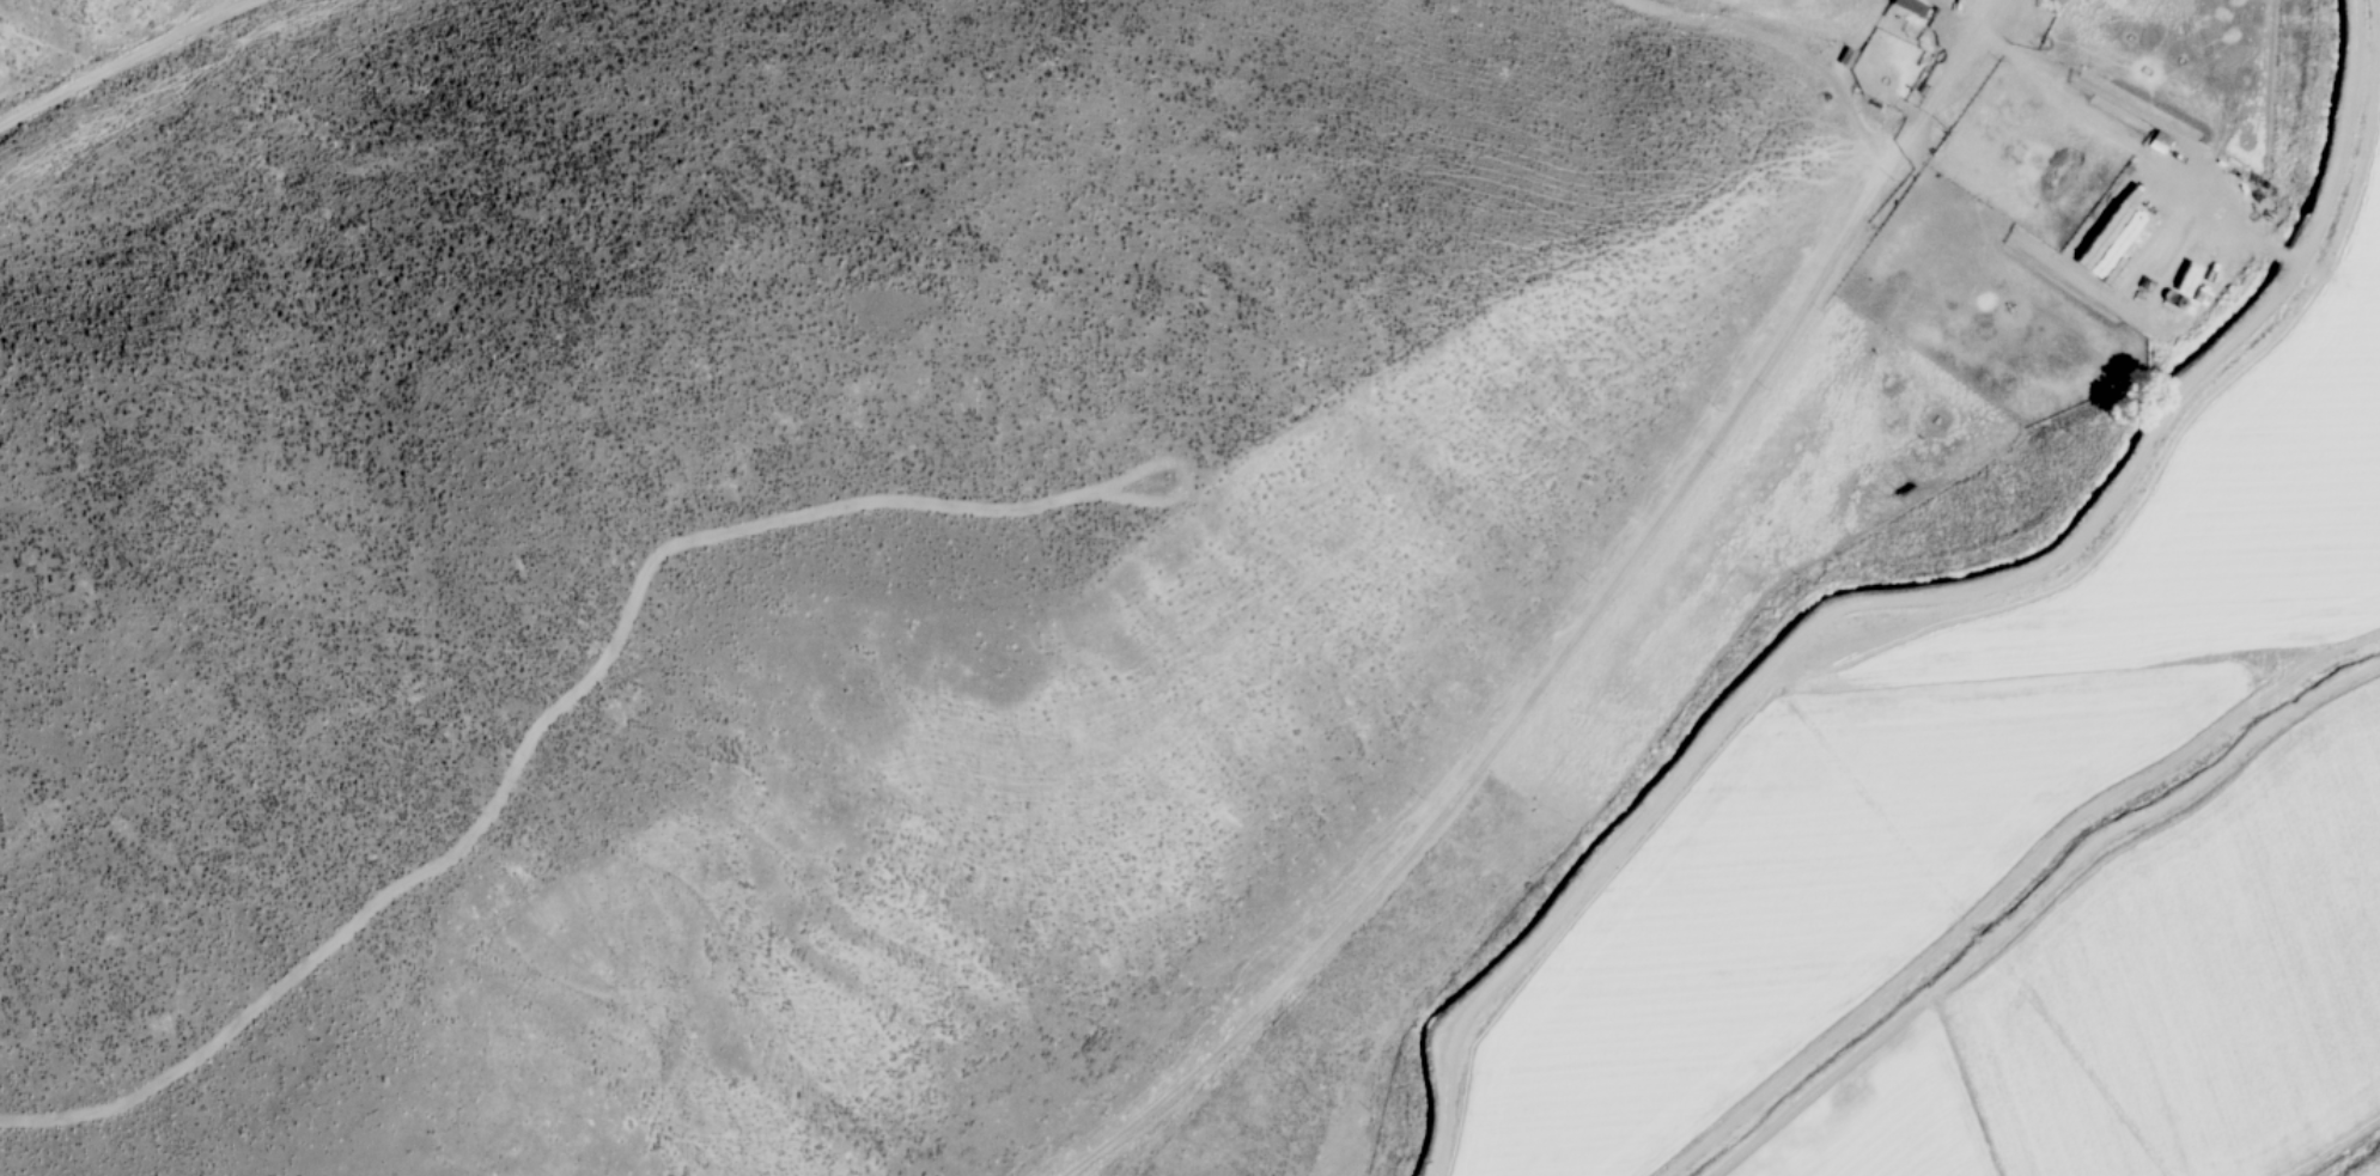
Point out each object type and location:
building: (2130, 0)
building: (1909, 8)
road: (2341, 139)
building: (2157, 145)
building: (2162, 187)
building: (2110, 261)
road: (1578, 627)

